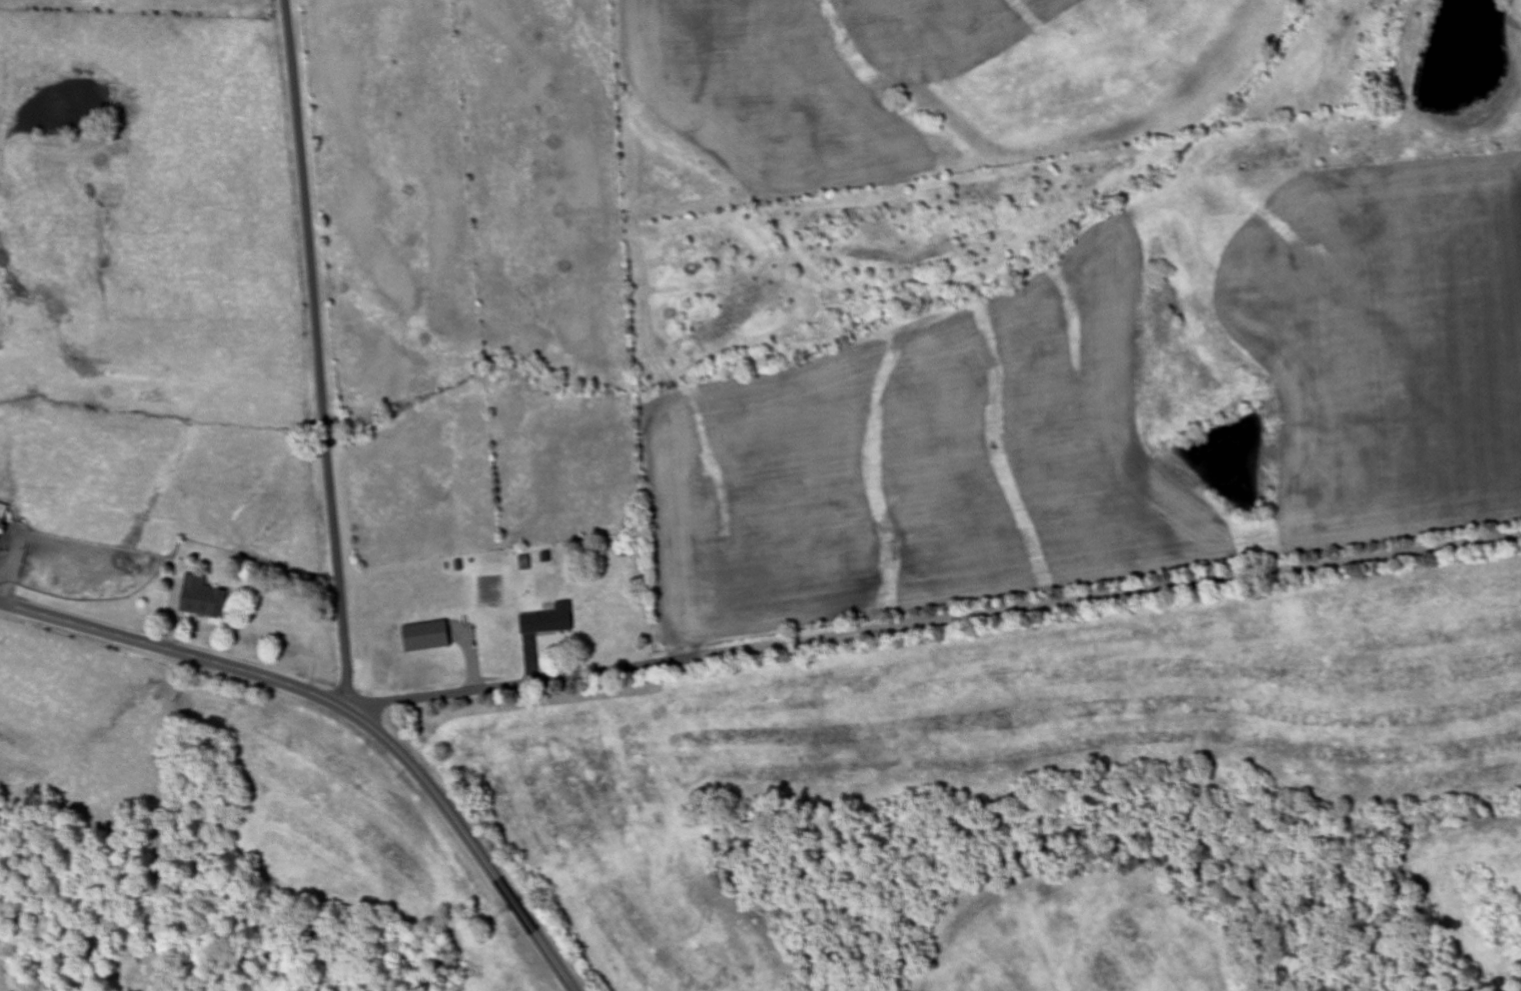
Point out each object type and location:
road: (318, 355)
building: (3, 518)
building: (202, 599)
road: (933, 619)
building: (548, 621)
building: (427, 637)
road: (345, 711)

